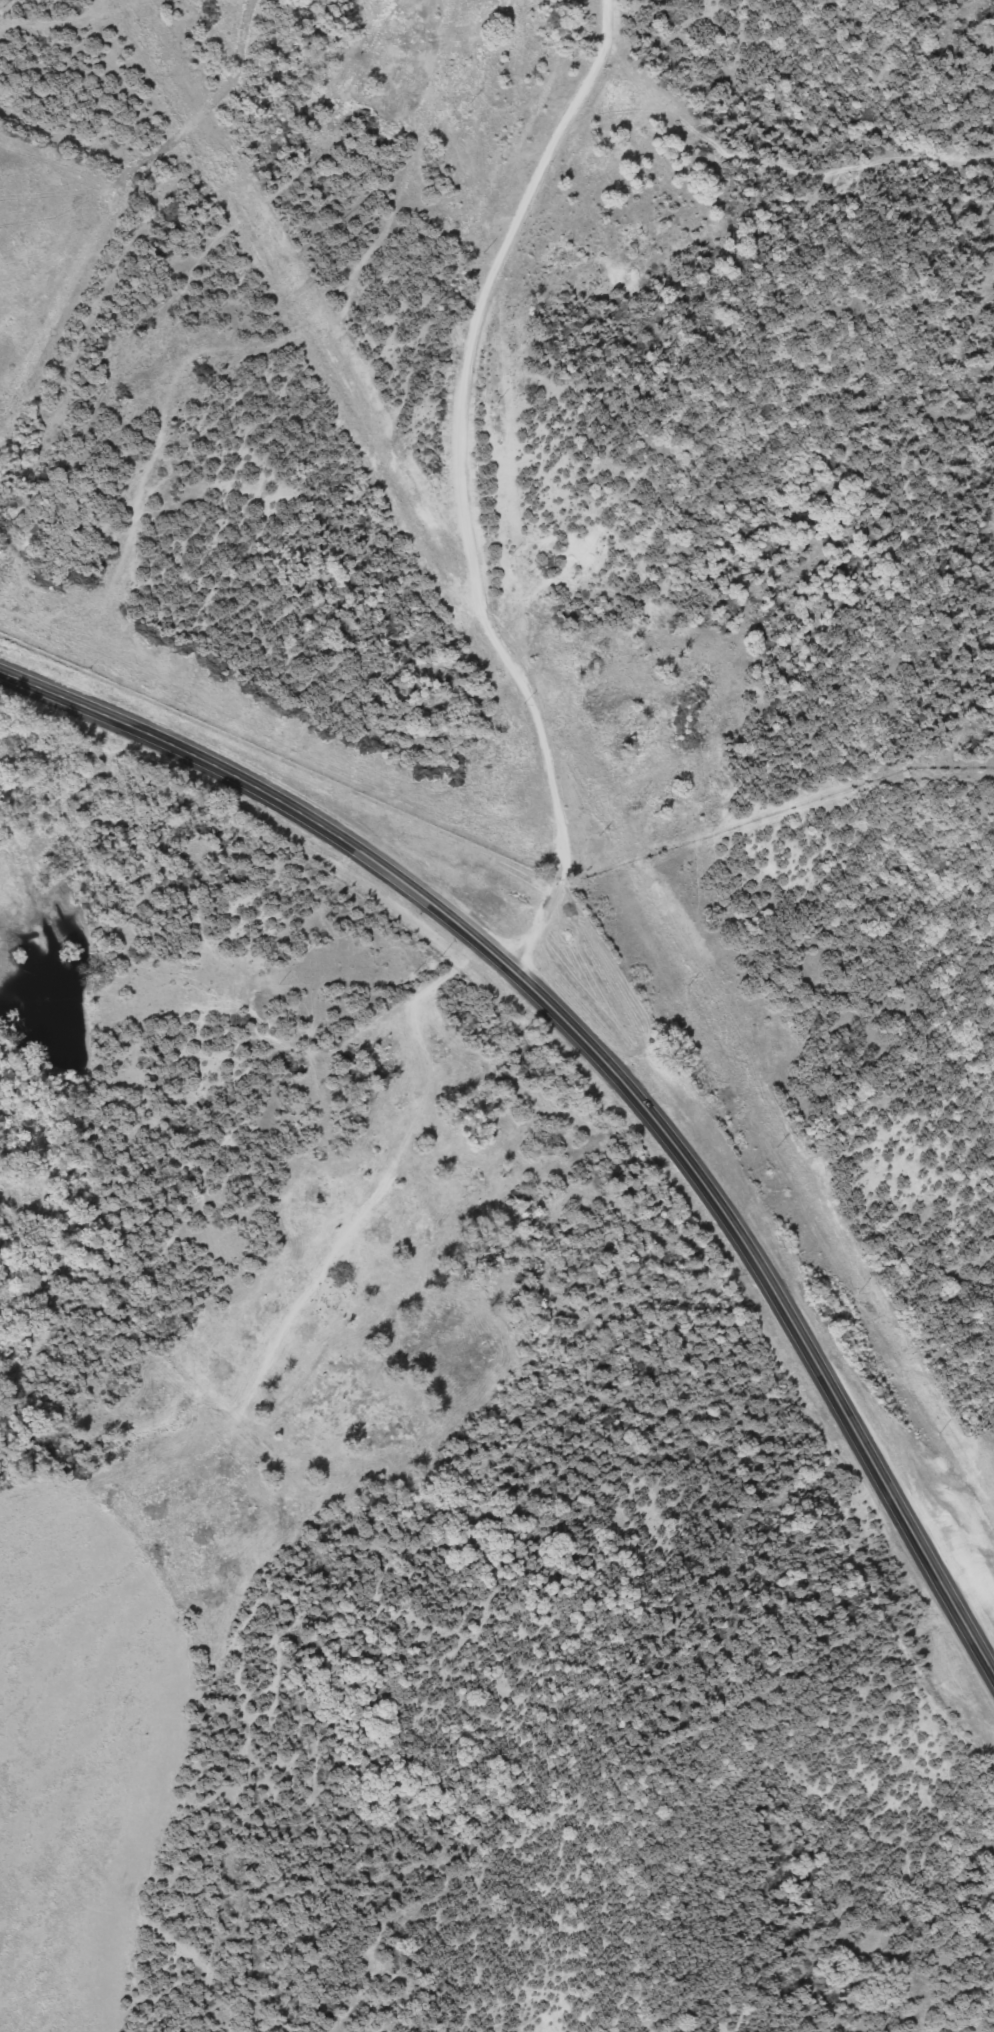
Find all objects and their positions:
road: (480, 475)
road: (602, 1056)

